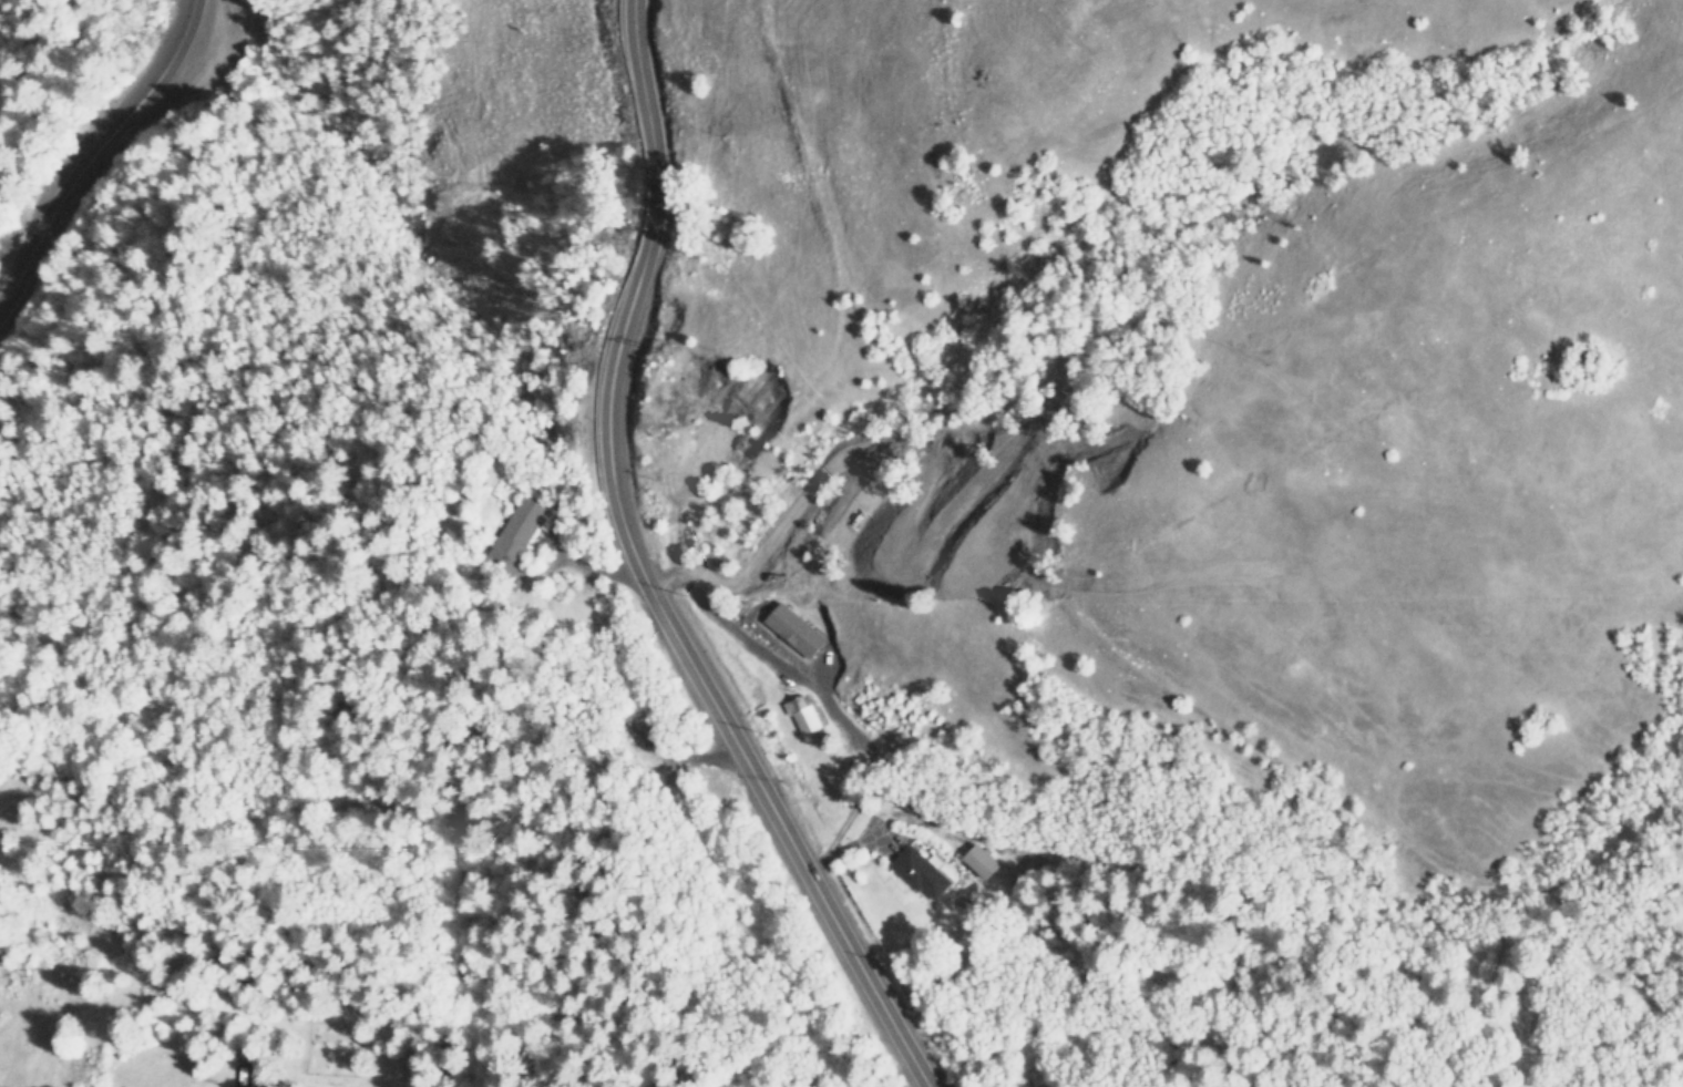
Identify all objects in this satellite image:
road: (98, 151)
building: (513, 534)
road: (651, 570)
building: (794, 629)
building: (801, 714)
building: (976, 860)
building: (913, 872)

